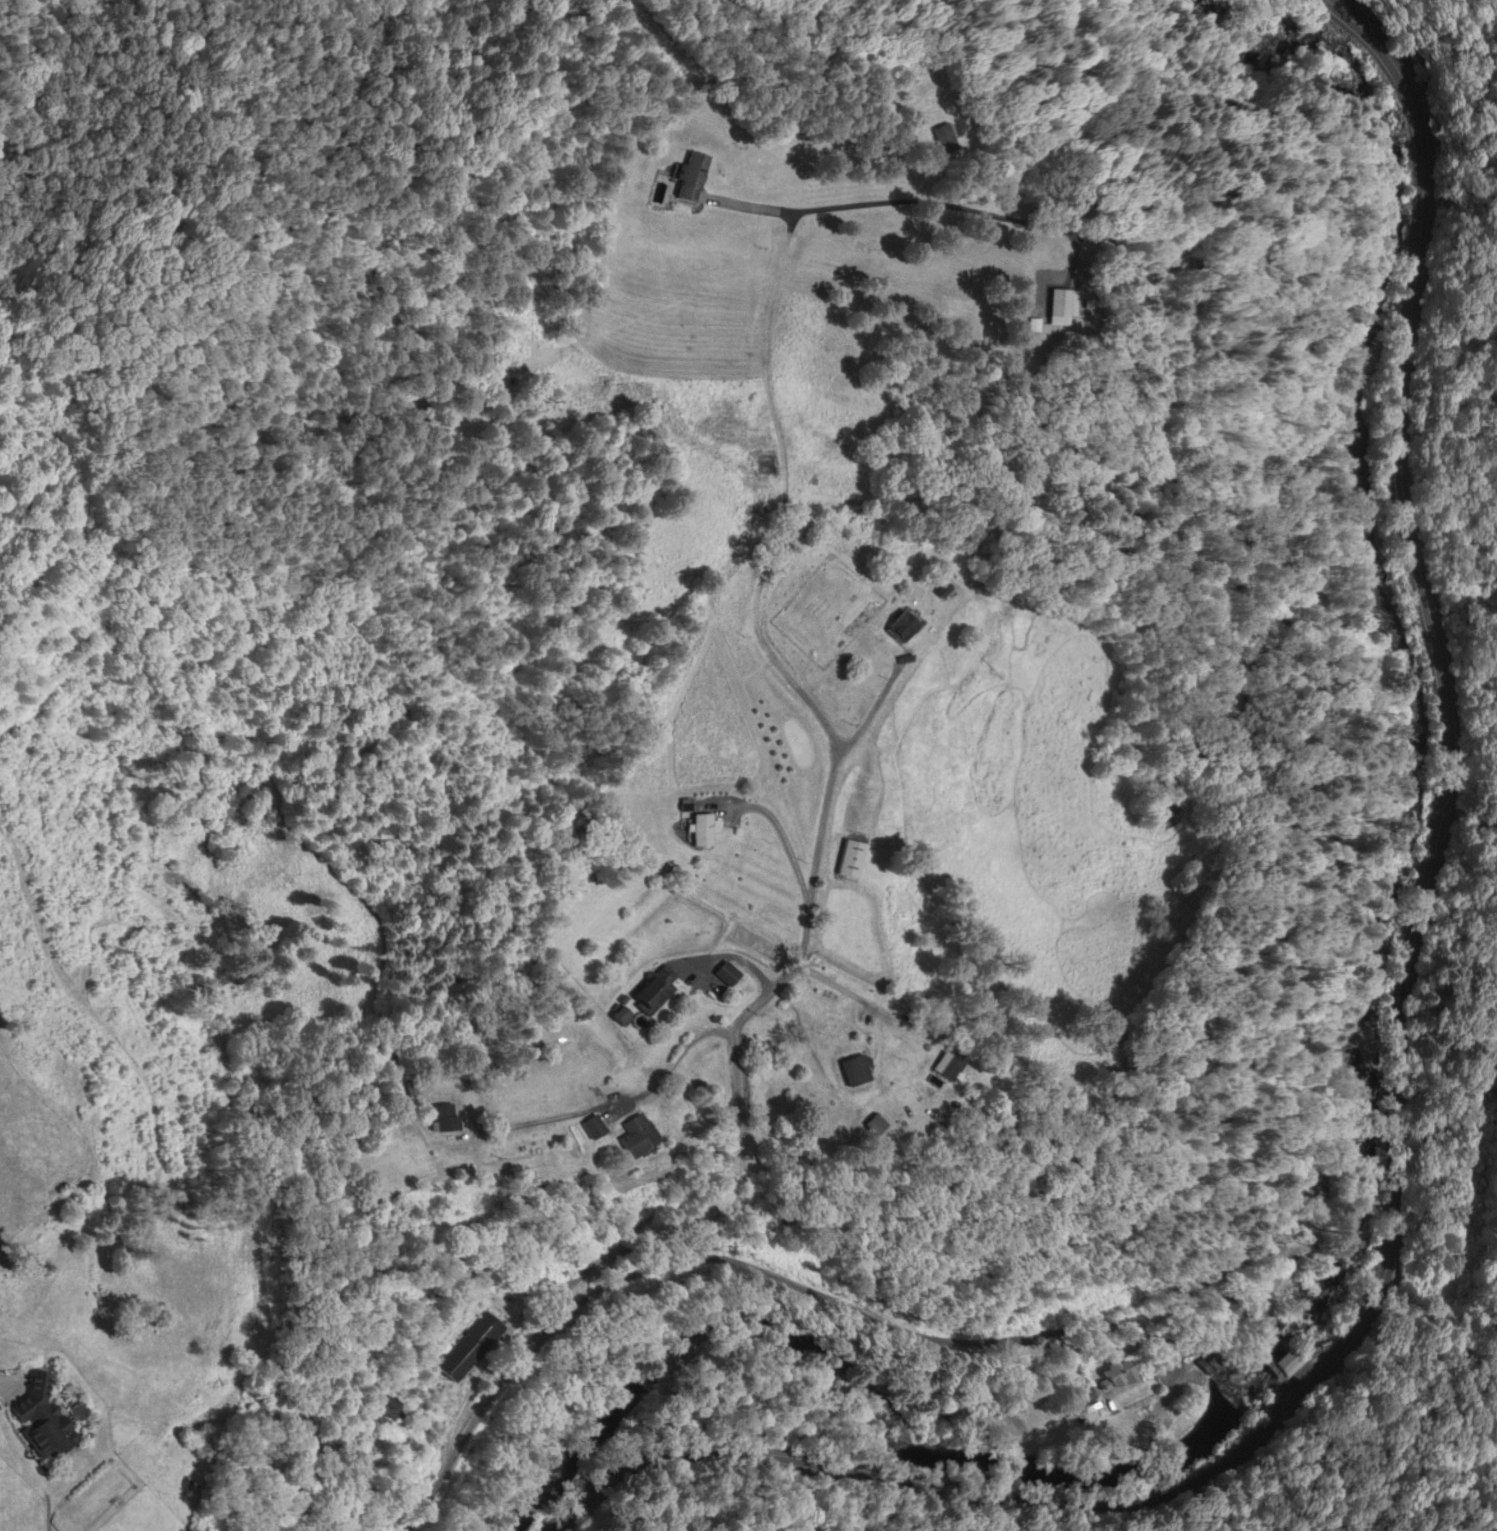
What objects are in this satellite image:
building: (944, 138)
building: (689, 176)
road: (751, 205)
building: (1061, 307)
road: (1157, 359)
building: (941, 589)
building: (901, 626)
building: (850, 857)
road: (804, 934)
building: (726, 972)
road: (1331, 980)
road: (837, 989)
building: (649, 991)
building: (822, 1002)
building: (951, 1063)
road: (630, 1096)
road: (1396, 1098)
building: (445, 1116)
building: (593, 1125)
building: (636, 1135)
building: (469, 1345)
building: (1085, 1392)
building: (389, 1407)
building: (41, 1419)

